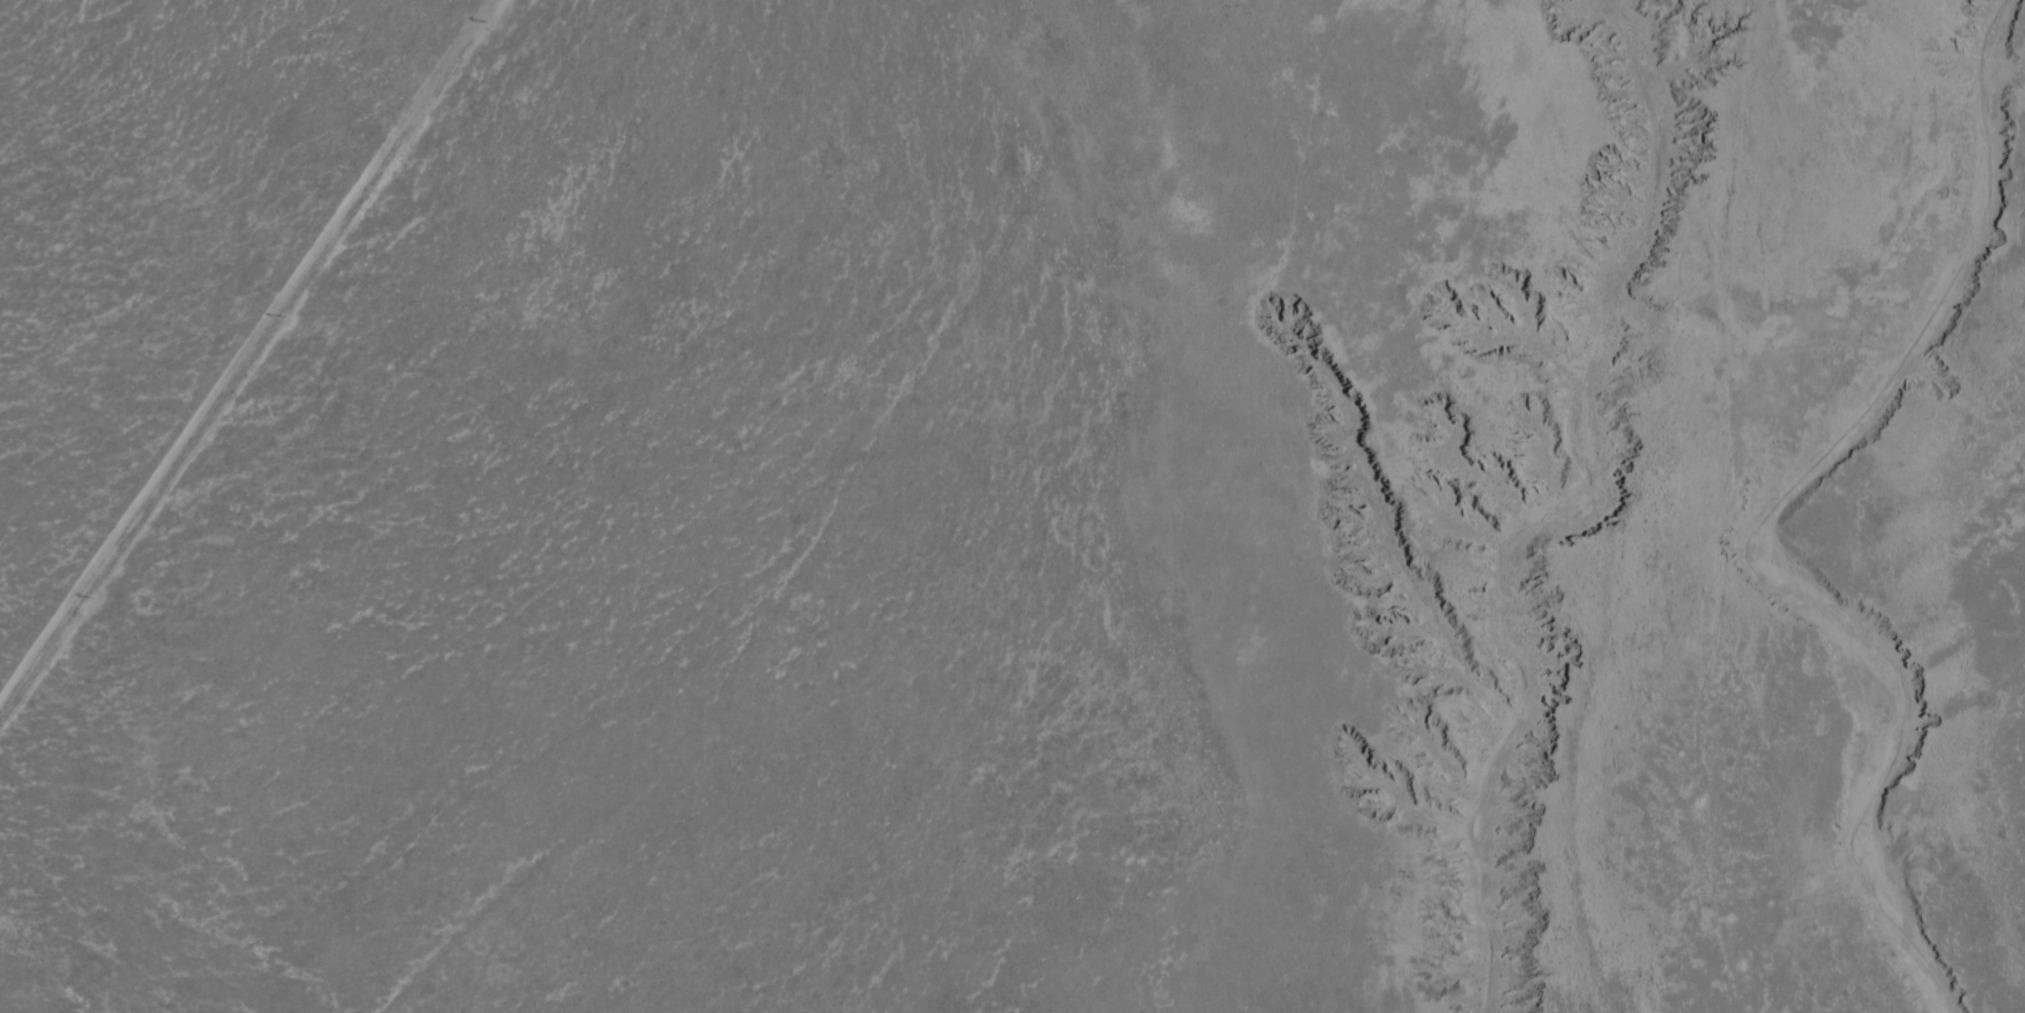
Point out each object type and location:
road: (1877, 851)

